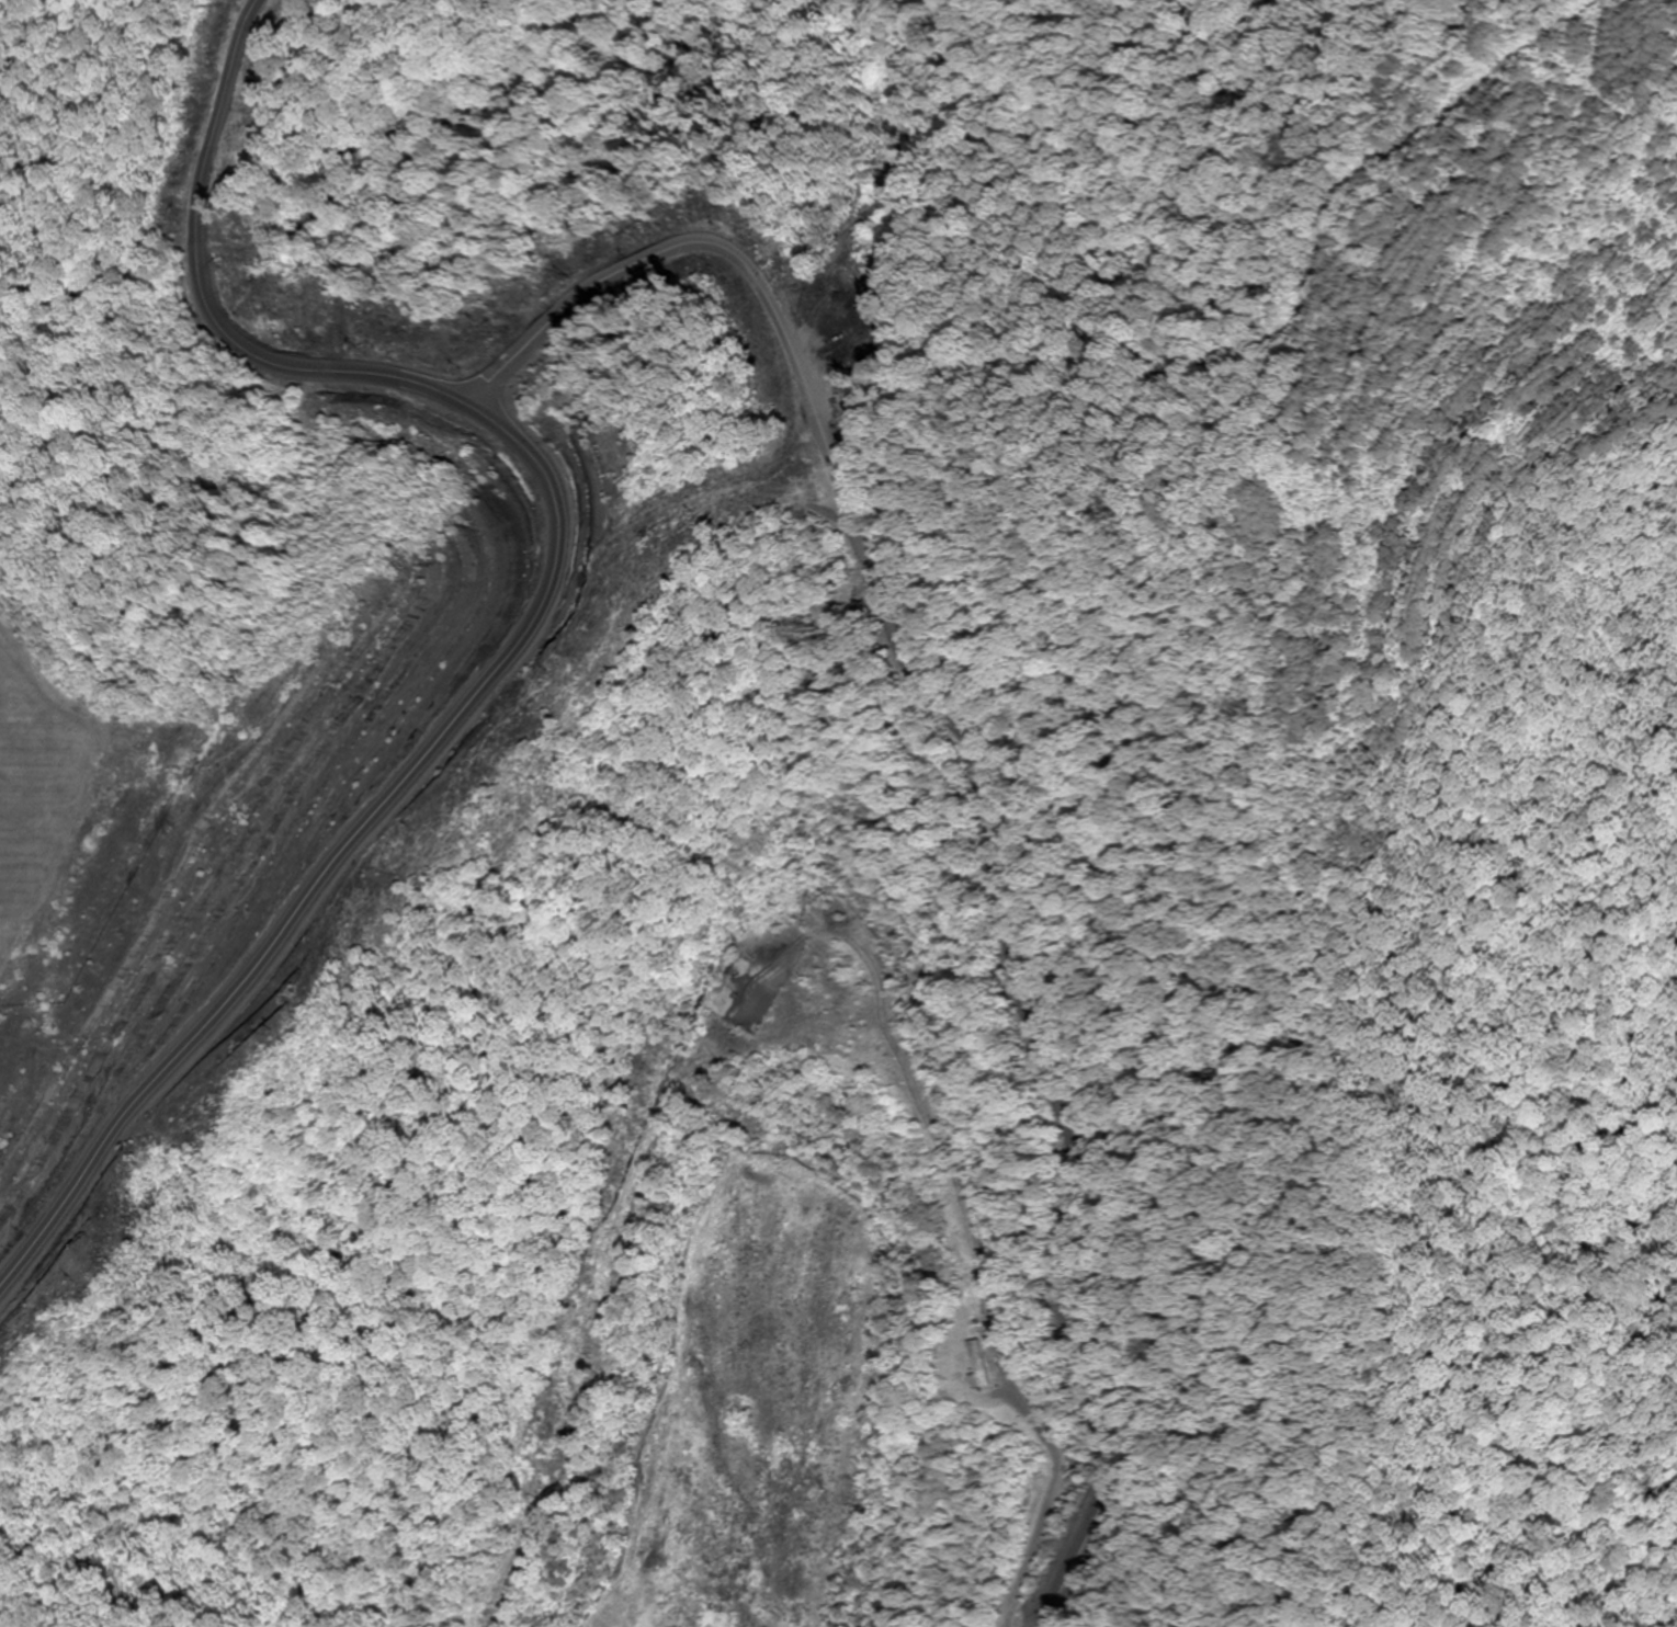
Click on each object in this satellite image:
road: (422, 385)
road: (330, 850)
road: (1026, 1009)
road: (1039, 1210)
building: (983, 1365)

